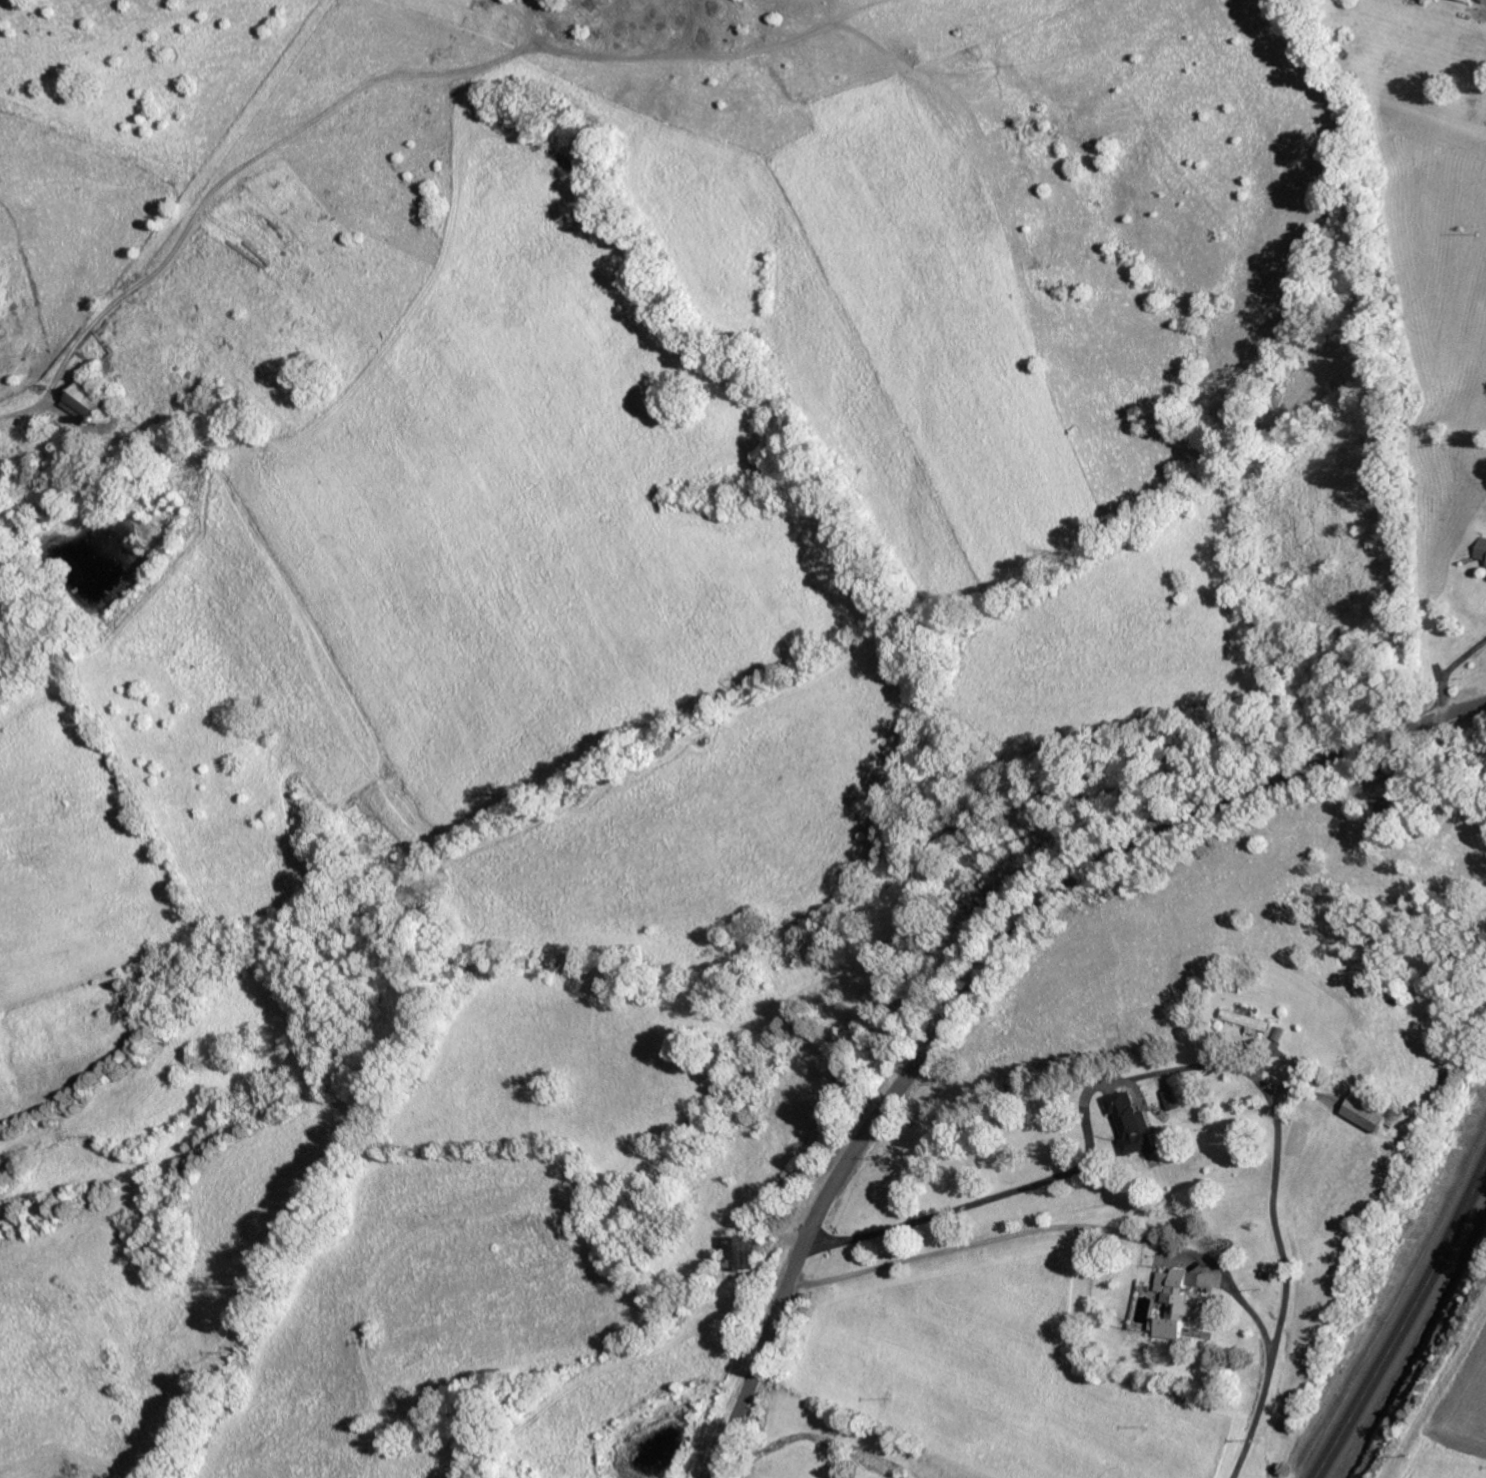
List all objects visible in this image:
building: (1471, 0)
building: (82, 399)
building: (1482, 548)
road: (986, 973)
building: (1249, 1020)
road: (1197, 1061)
building: (1172, 1099)
building: (1367, 1110)
building: (1133, 1123)
road: (1052, 1227)
building: (745, 1254)
building: (1174, 1301)
road: (1398, 1310)

